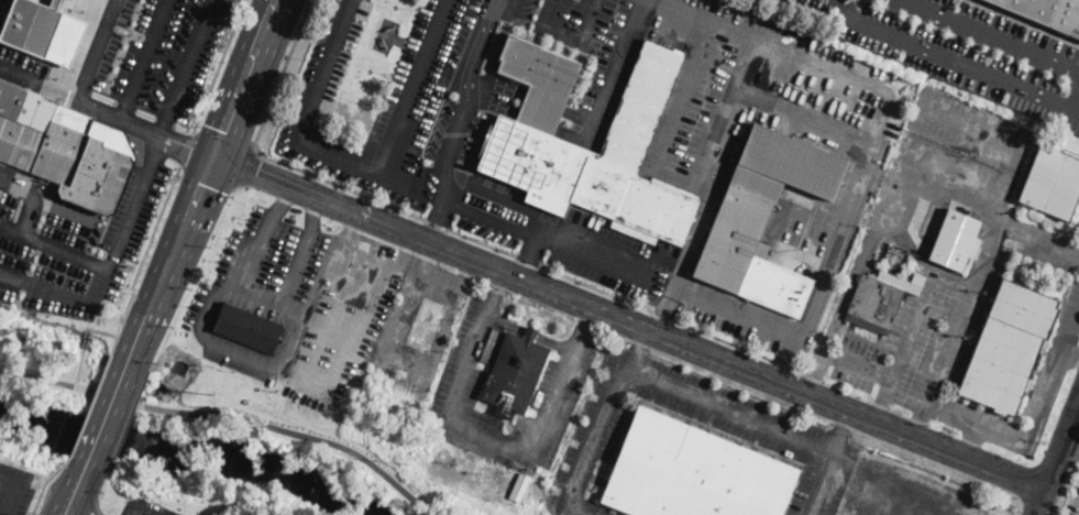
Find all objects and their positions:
road: (103, 3)
parking lot: (1, 4)
building: (1045, 13)
building: (42, 31)
road: (385, 34)
road: (987, 36)
road: (568, 39)
road: (405, 42)
road: (773, 46)
parking lot: (962, 48)
road: (96, 51)
parking lot: (141, 52)
road: (144, 59)
road: (953, 61)
road: (217, 66)
road: (323, 69)
road: (618, 70)
road: (280, 75)
road: (38, 85)
road: (410, 86)
road: (680, 95)
road: (464, 97)
road: (536, 97)
road: (533, 102)
road: (724, 112)
road: (528, 117)
building: (22, 124)
road: (968, 128)
road: (145, 129)
parking lot: (964, 139)
building: (526, 141)
road: (222, 142)
road: (186, 146)
road: (154, 151)
road: (337, 156)
traffic signals: (213, 157)
building: (85, 161)
road: (247, 167)
road: (209, 174)
road: (203, 177)
road: (927, 177)
parking lot: (423, 180)
road: (681, 180)
building: (1052, 183)
road: (33, 198)
road: (508, 199)
road: (284, 200)
road: (313, 213)
road: (847, 216)
building: (763, 219)
road: (436, 221)
parking lot: (1076, 223)
road: (353, 228)
road: (1039, 240)
building: (955, 241)
road: (533, 245)
road: (53, 246)
road: (910, 246)
parking lot: (74, 249)
road: (401, 250)
road: (143, 253)
road: (257, 254)
road: (616, 261)
road: (532, 262)
road: (683, 262)
road: (296, 271)
road: (978, 278)
road: (331, 285)
road: (47, 287)
road: (223, 291)
road: (494, 293)
building: (880, 299)
road: (839, 307)
building: (1020, 318)
road: (629, 322)
building: (247, 329)
road: (583, 329)
road: (100, 330)
road: (288, 333)
road: (635, 340)
road: (906, 340)
parking lot: (957, 349)
road: (1072, 354)
road: (858, 361)
road: (78, 366)
road: (328, 370)
building: (514, 373)
building: (997, 375)
road: (36, 376)
park: (43, 381)
parking lot: (456, 388)
road: (89, 403)
road: (107, 412)
road: (879, 412)
road: (761, 420)
road: (918, 421)
road: (263, 423)
road: (1034, 429)
road: (841, 430)
road: (599, 434)
road: (486, 439)
road: (970, 441)
parking lot: (790, 442)
road: (1070, 451)
road: (1057, 461)
park: (251, 465)
building: (694, 471)
road: (84, 473)
road: (44, 482)
parking lot: (821, 491)
road: (74, 496)
road: (90, 497)
parking lot: (1076, 506)
parking lot: (145, 507)
road: (576, 512)
parking lot: (599, 514)

